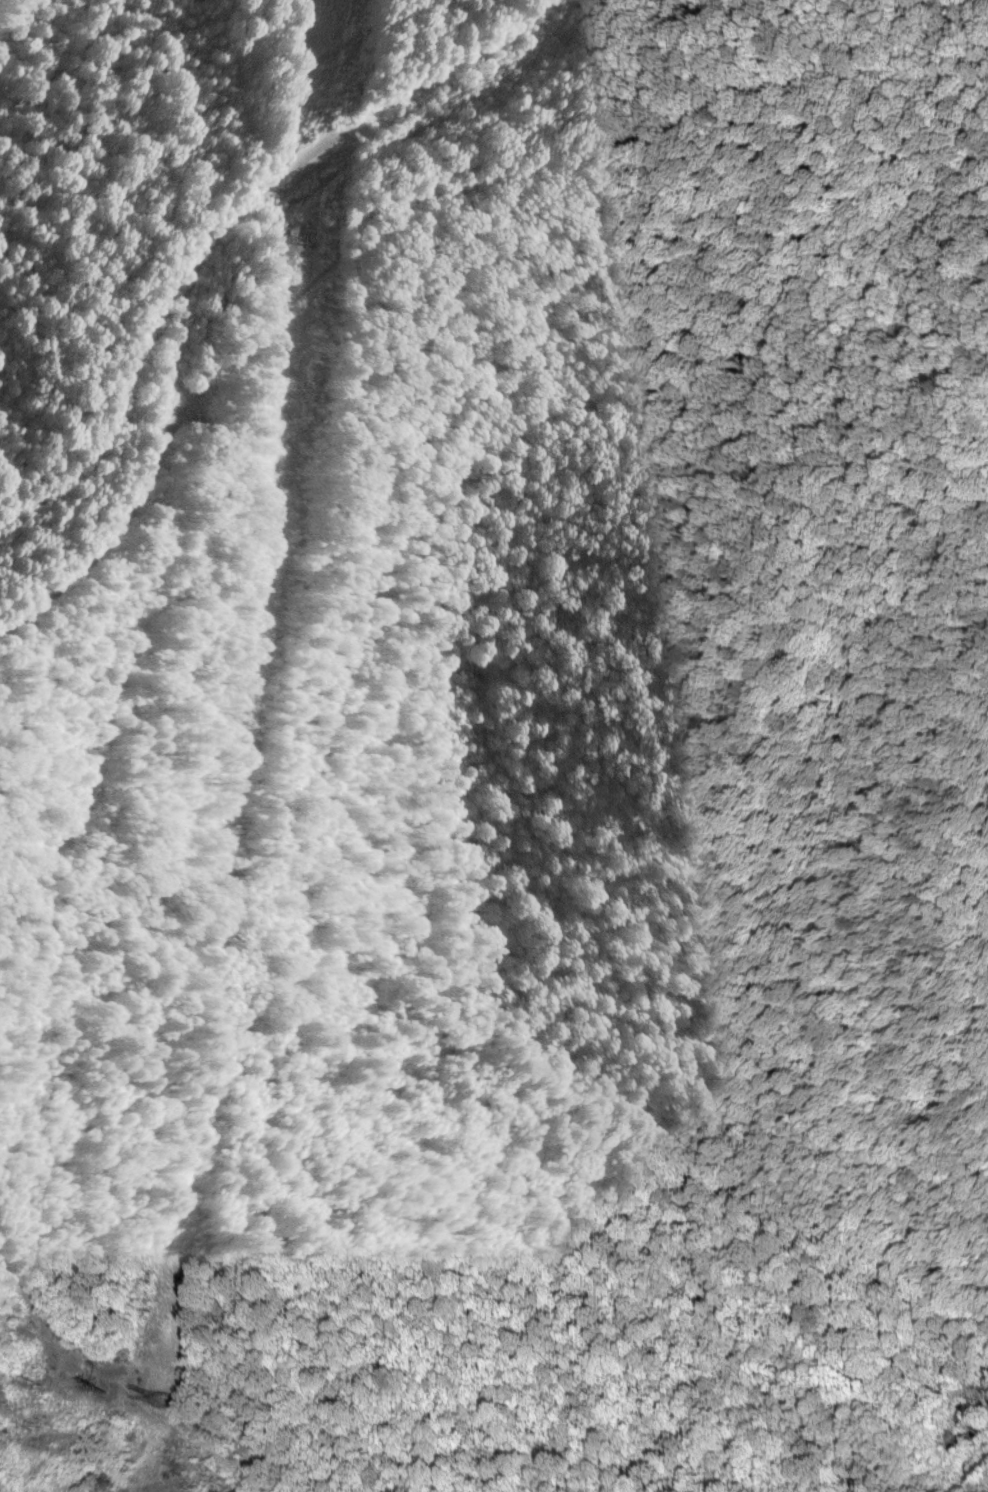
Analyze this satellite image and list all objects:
power tower: (308, 238)
power tower: (39, 1383)
power tower: (102, 1387)
power tower: (170, 1399)

